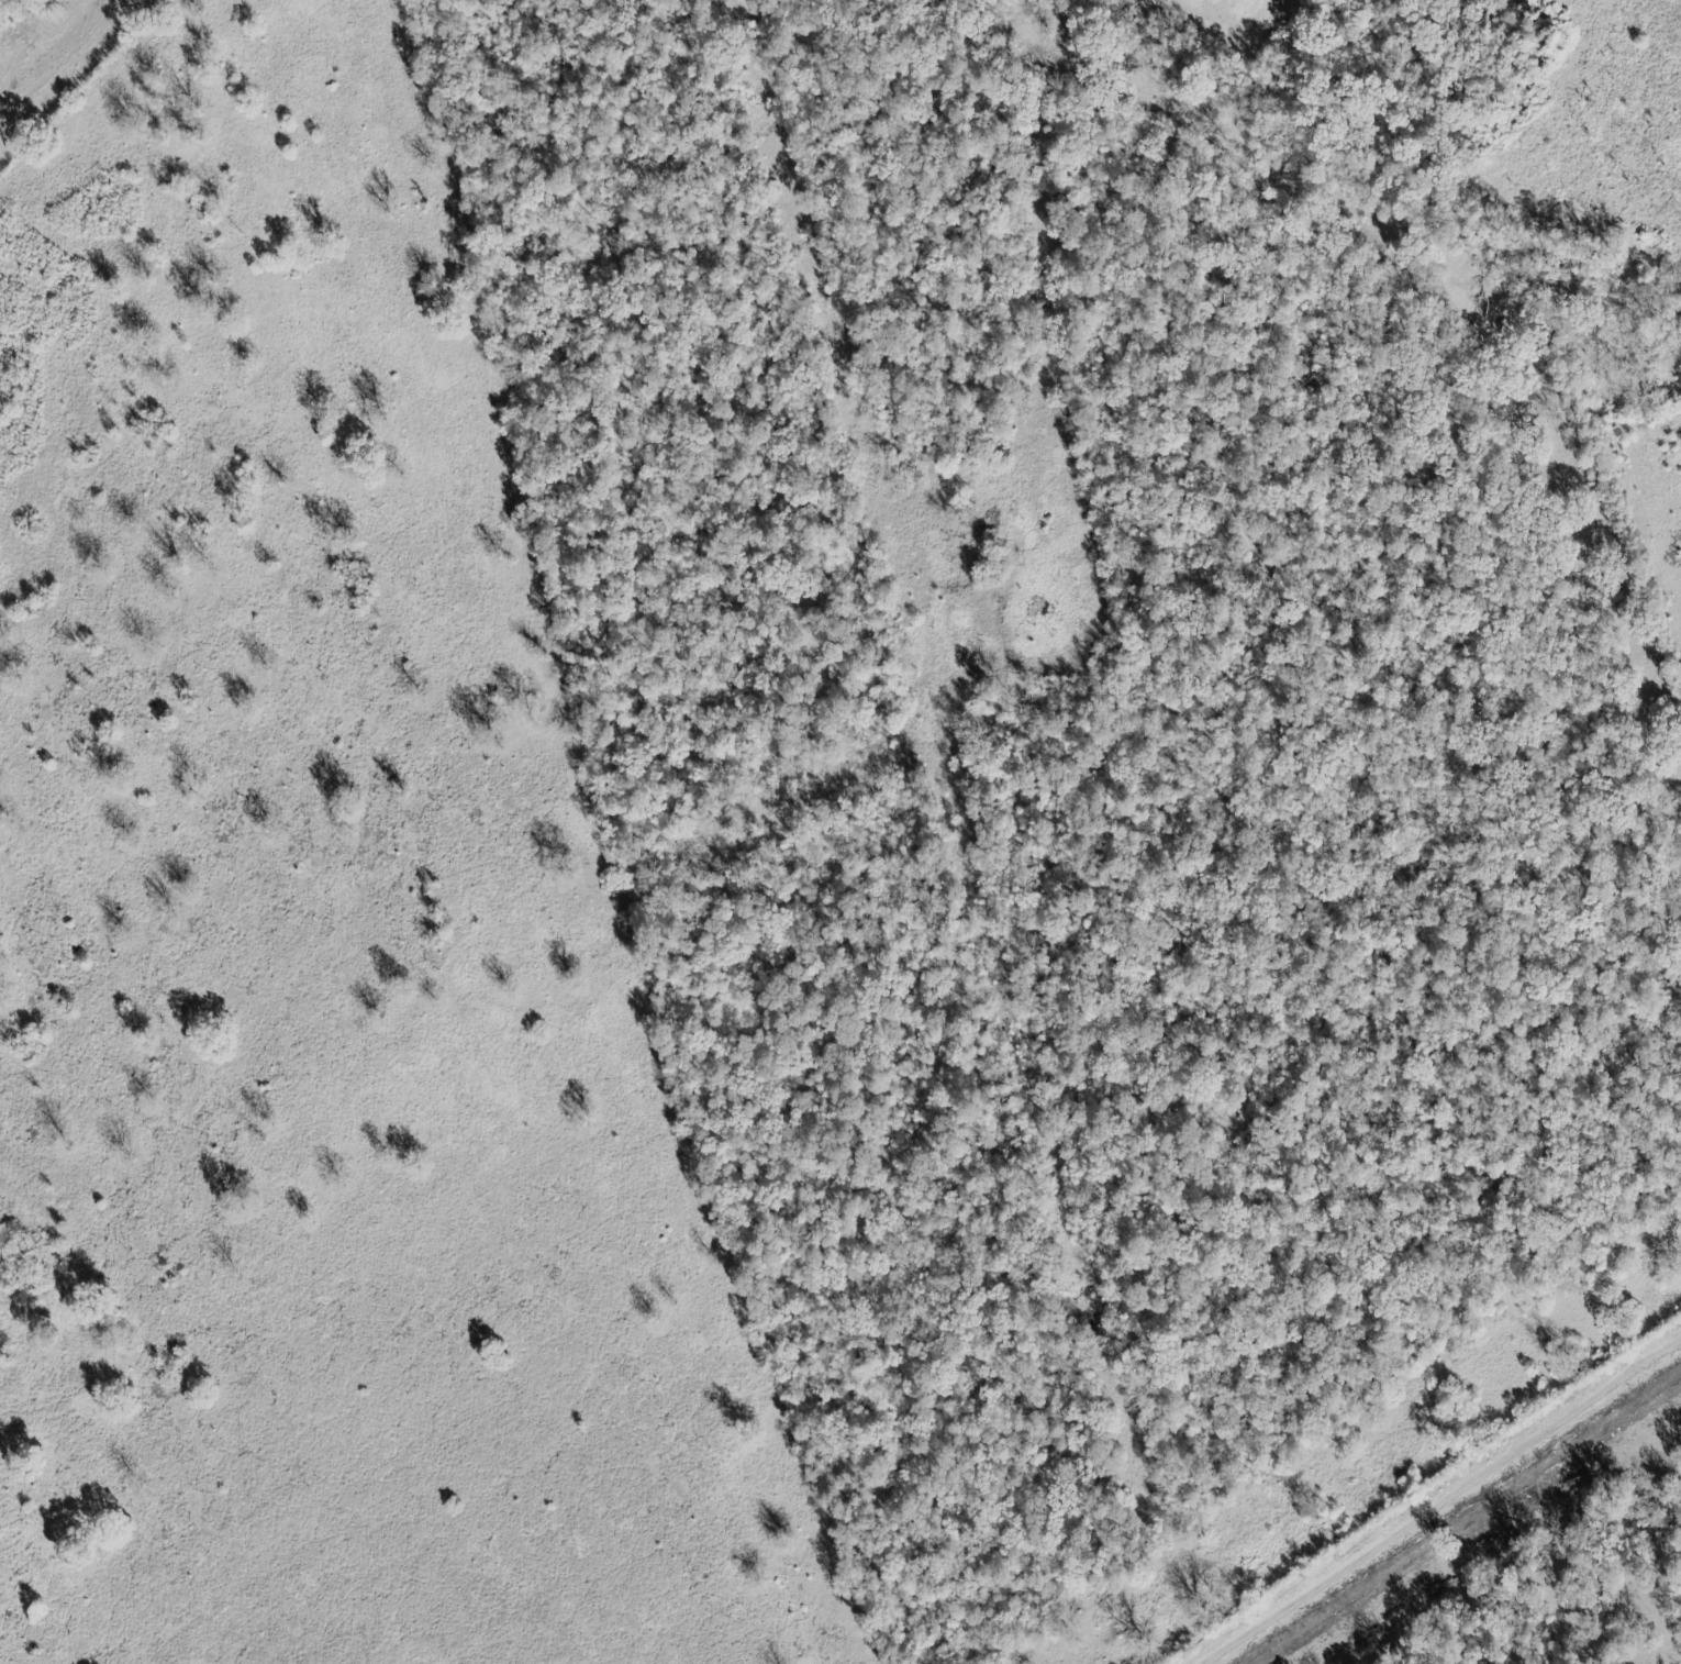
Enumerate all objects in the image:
road: (1448, 1506)

